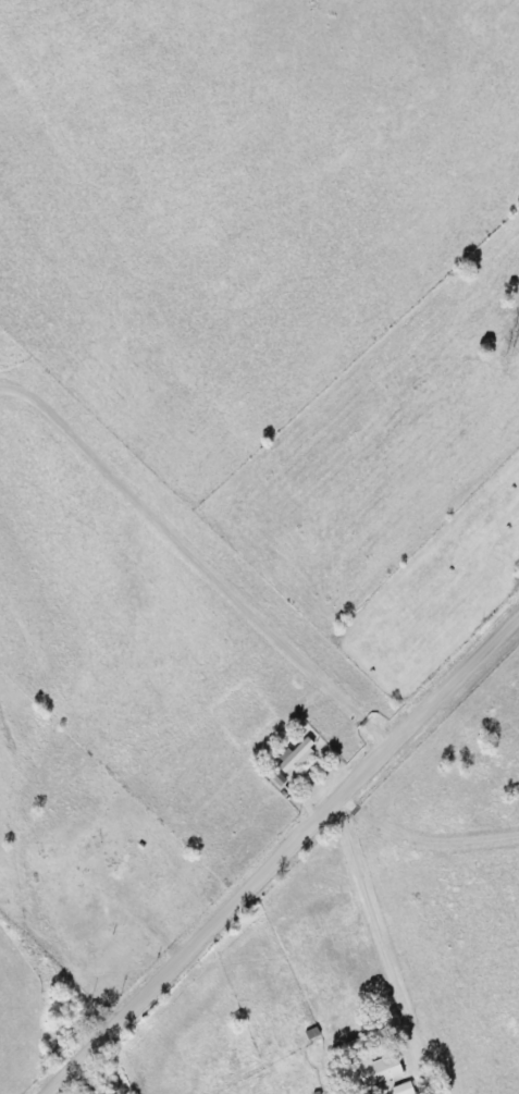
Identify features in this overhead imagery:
road: (197, 555)
road: (276, 849)
building: (102, 860)
road: (372, 919)
building: (374, 1066)
building: (406, 1089)

